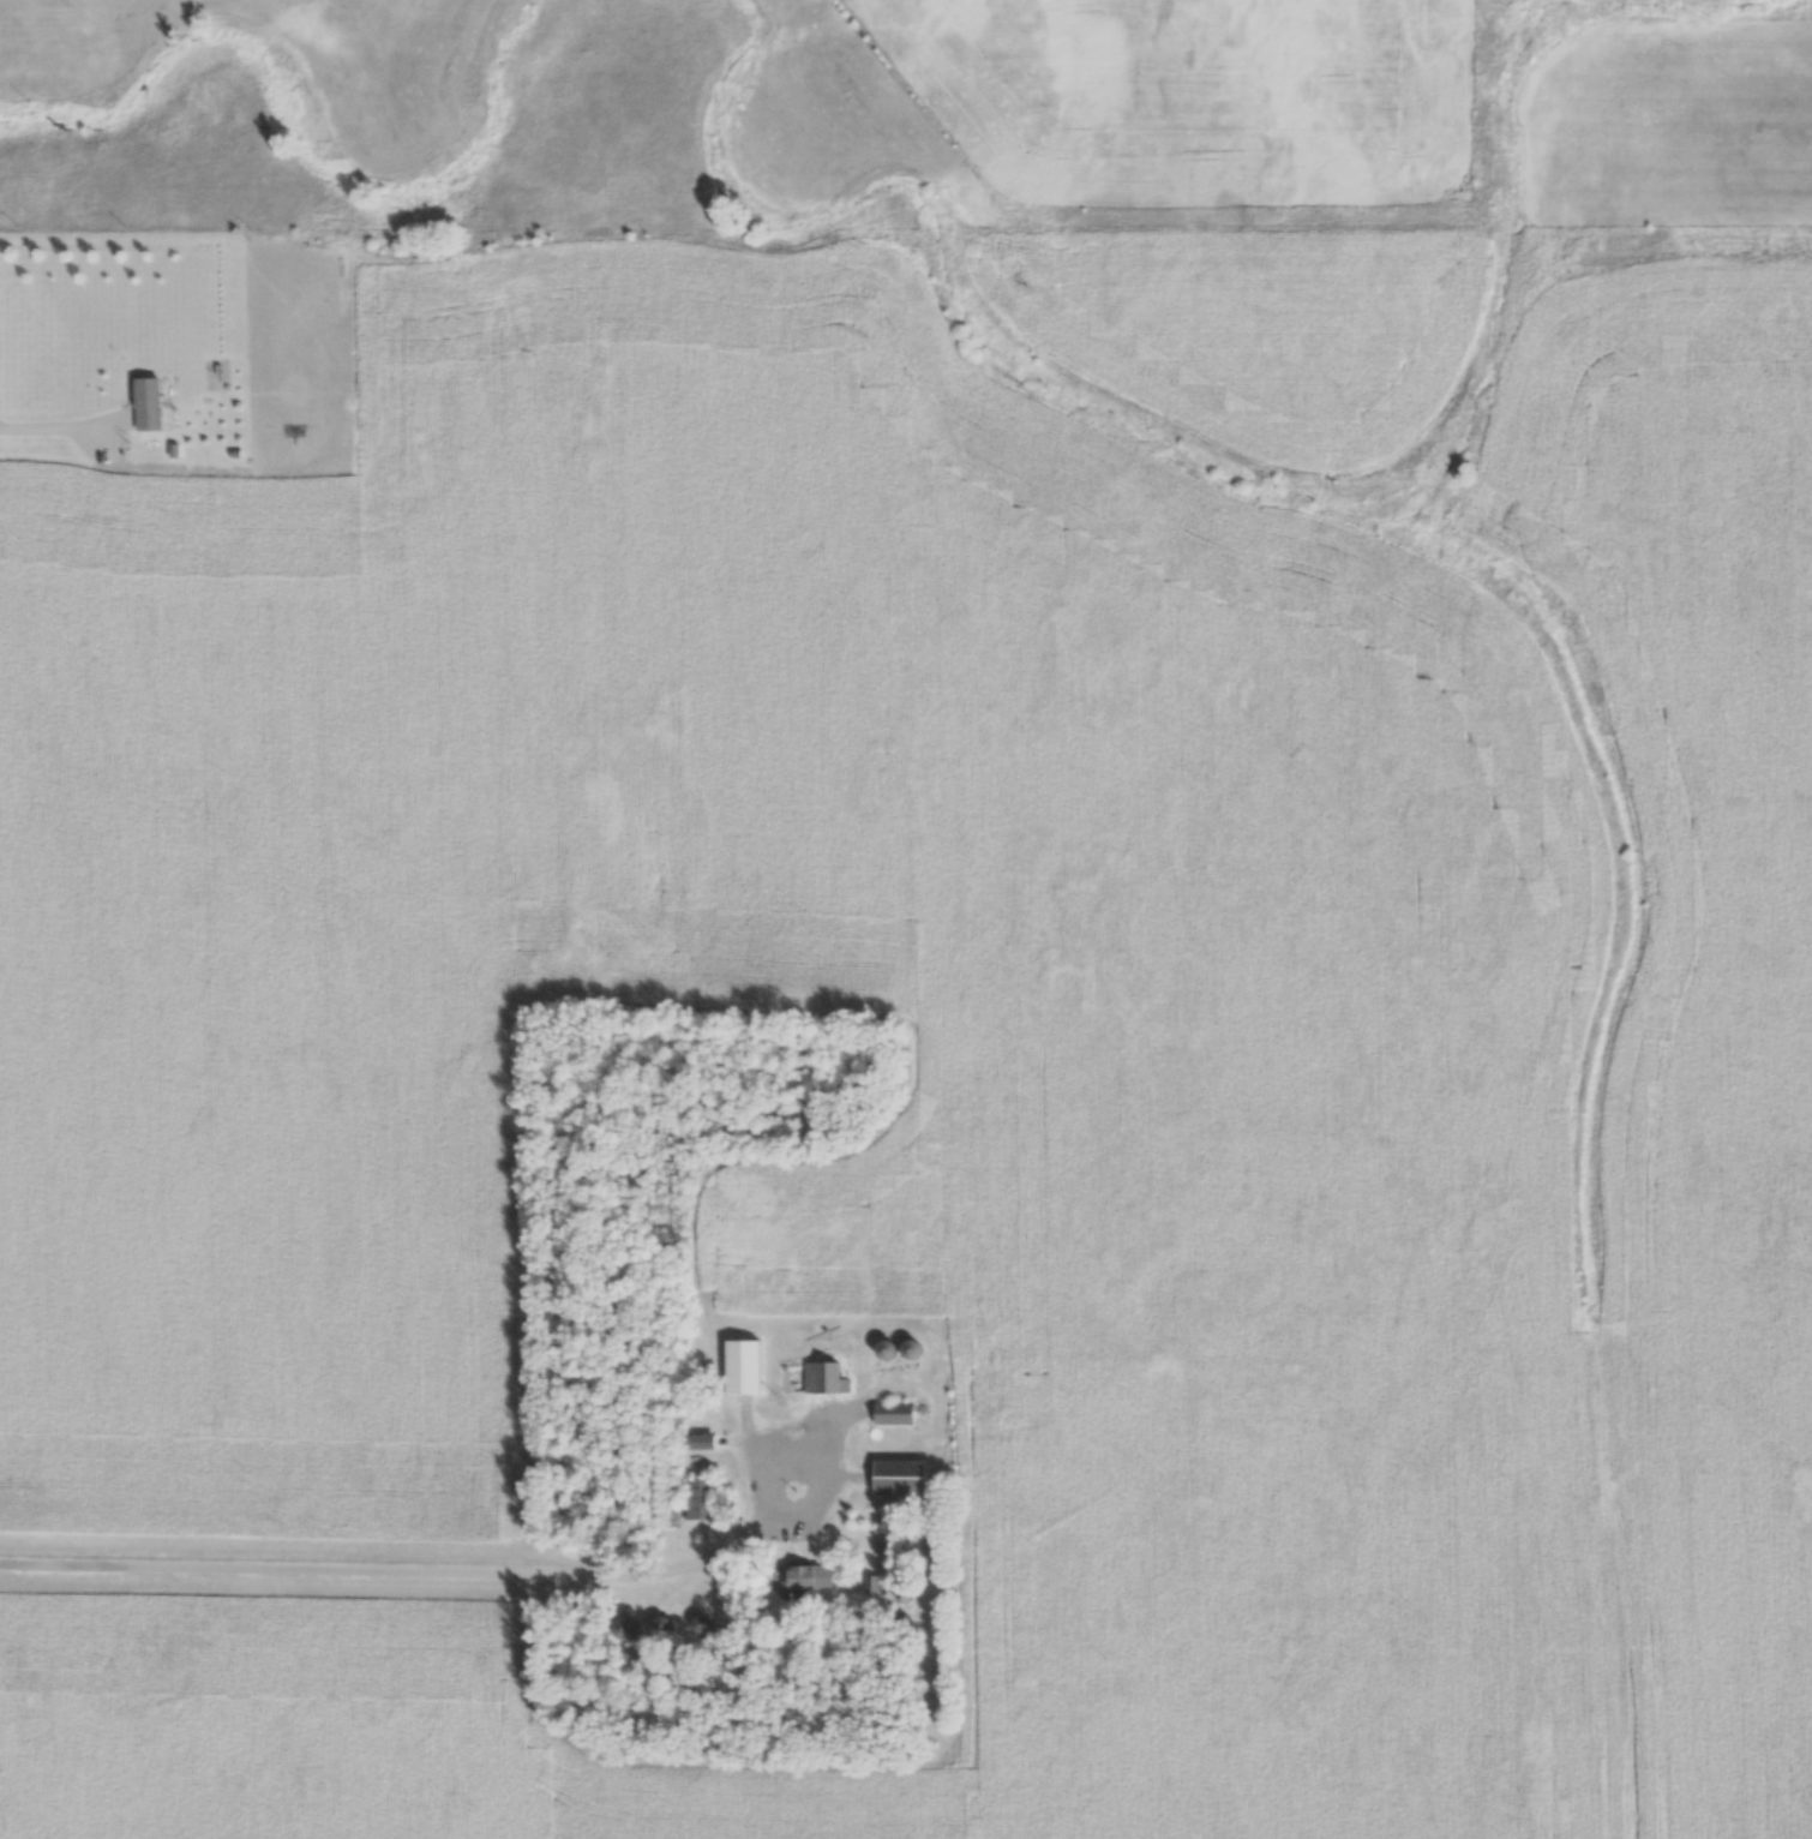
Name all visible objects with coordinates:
building: (145, 405)
road: (61, 427)
building: (739, 1367)
building: (821, 1379)
building: (896, 1415)
building: (697, 1443)
building: (898, 1479)
building: (698, 1499)
road: (407, 1570)
building: (809, 1580)
building: (623, 1629)

